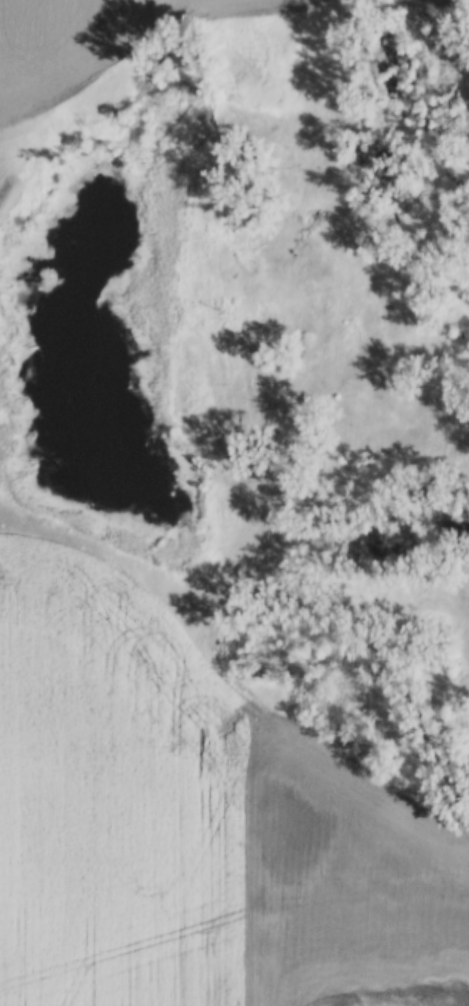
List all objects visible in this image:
road: (130, 719)

